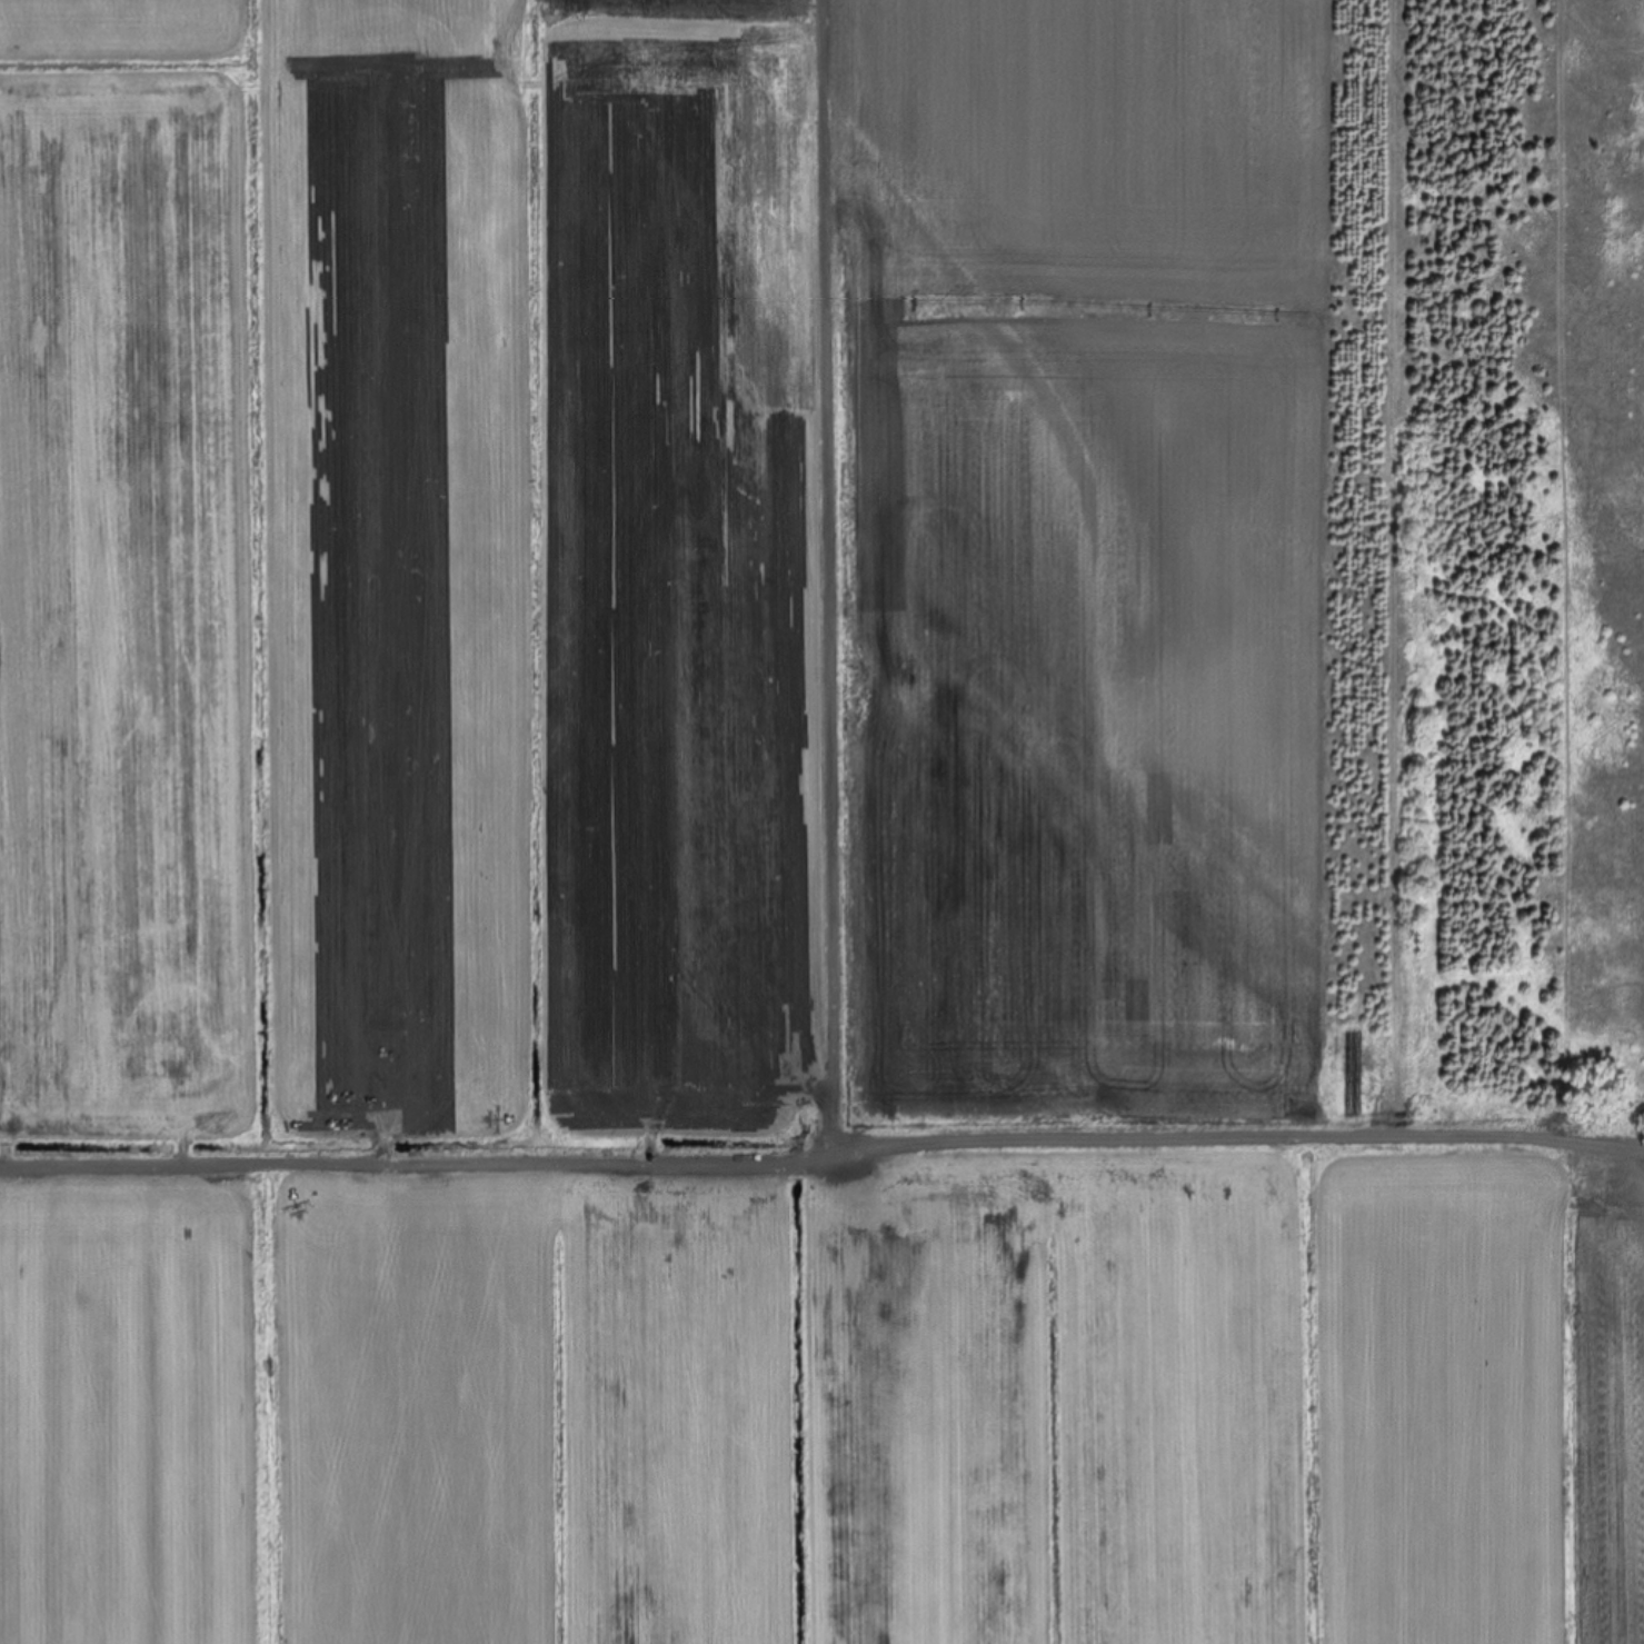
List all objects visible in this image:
road: (1612, 1139)
road: (399, 1140)

